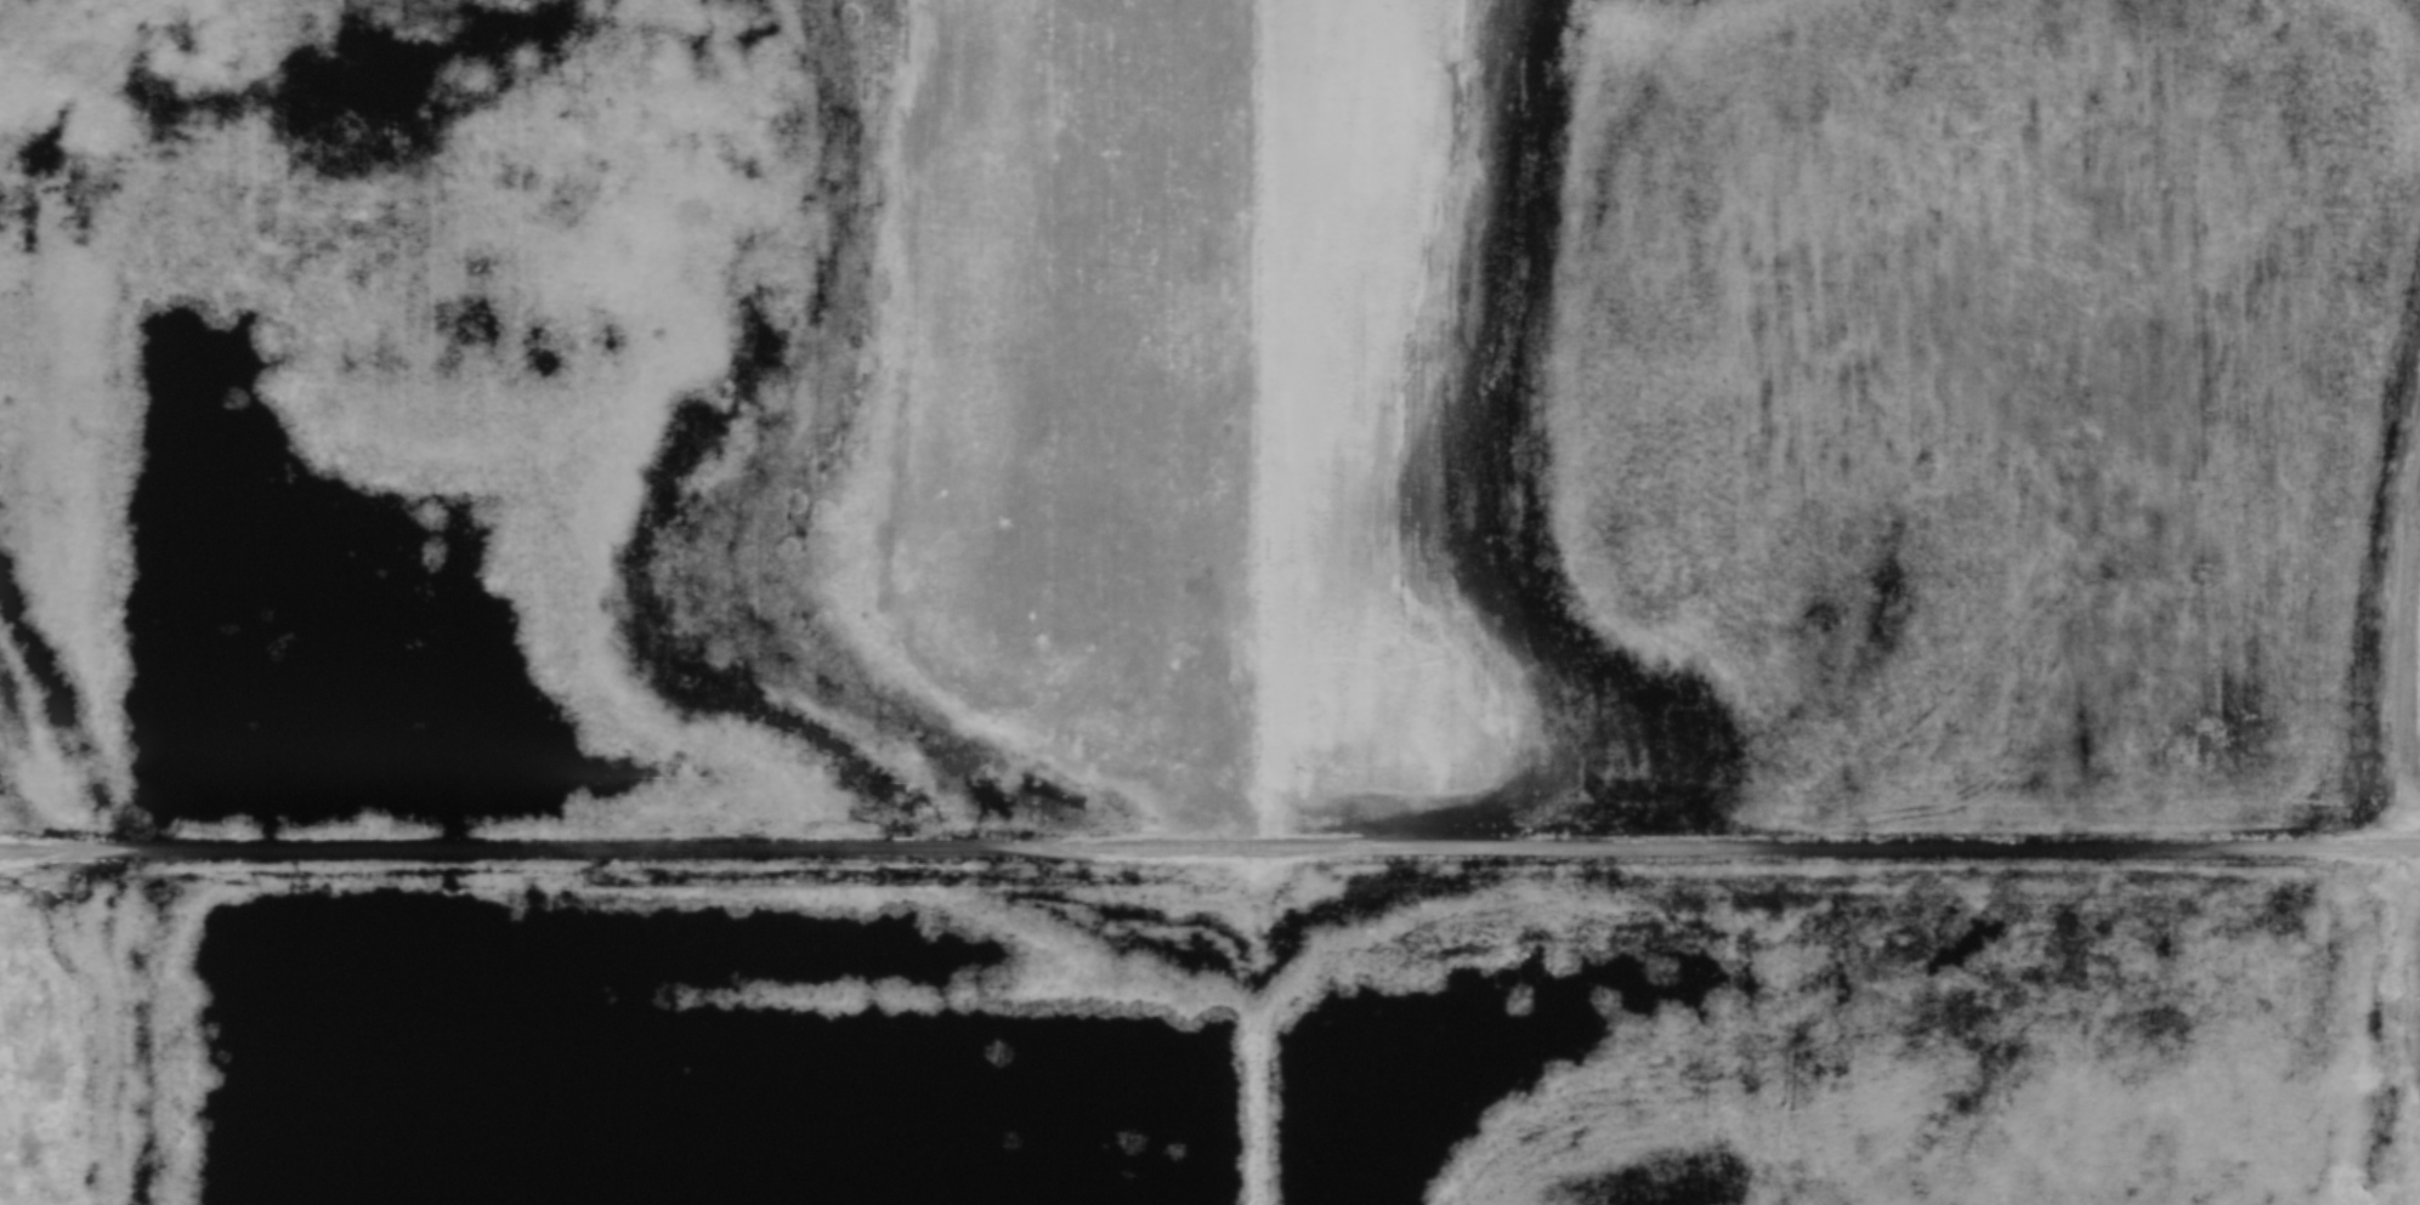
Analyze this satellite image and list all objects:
road: (1209, 849)

